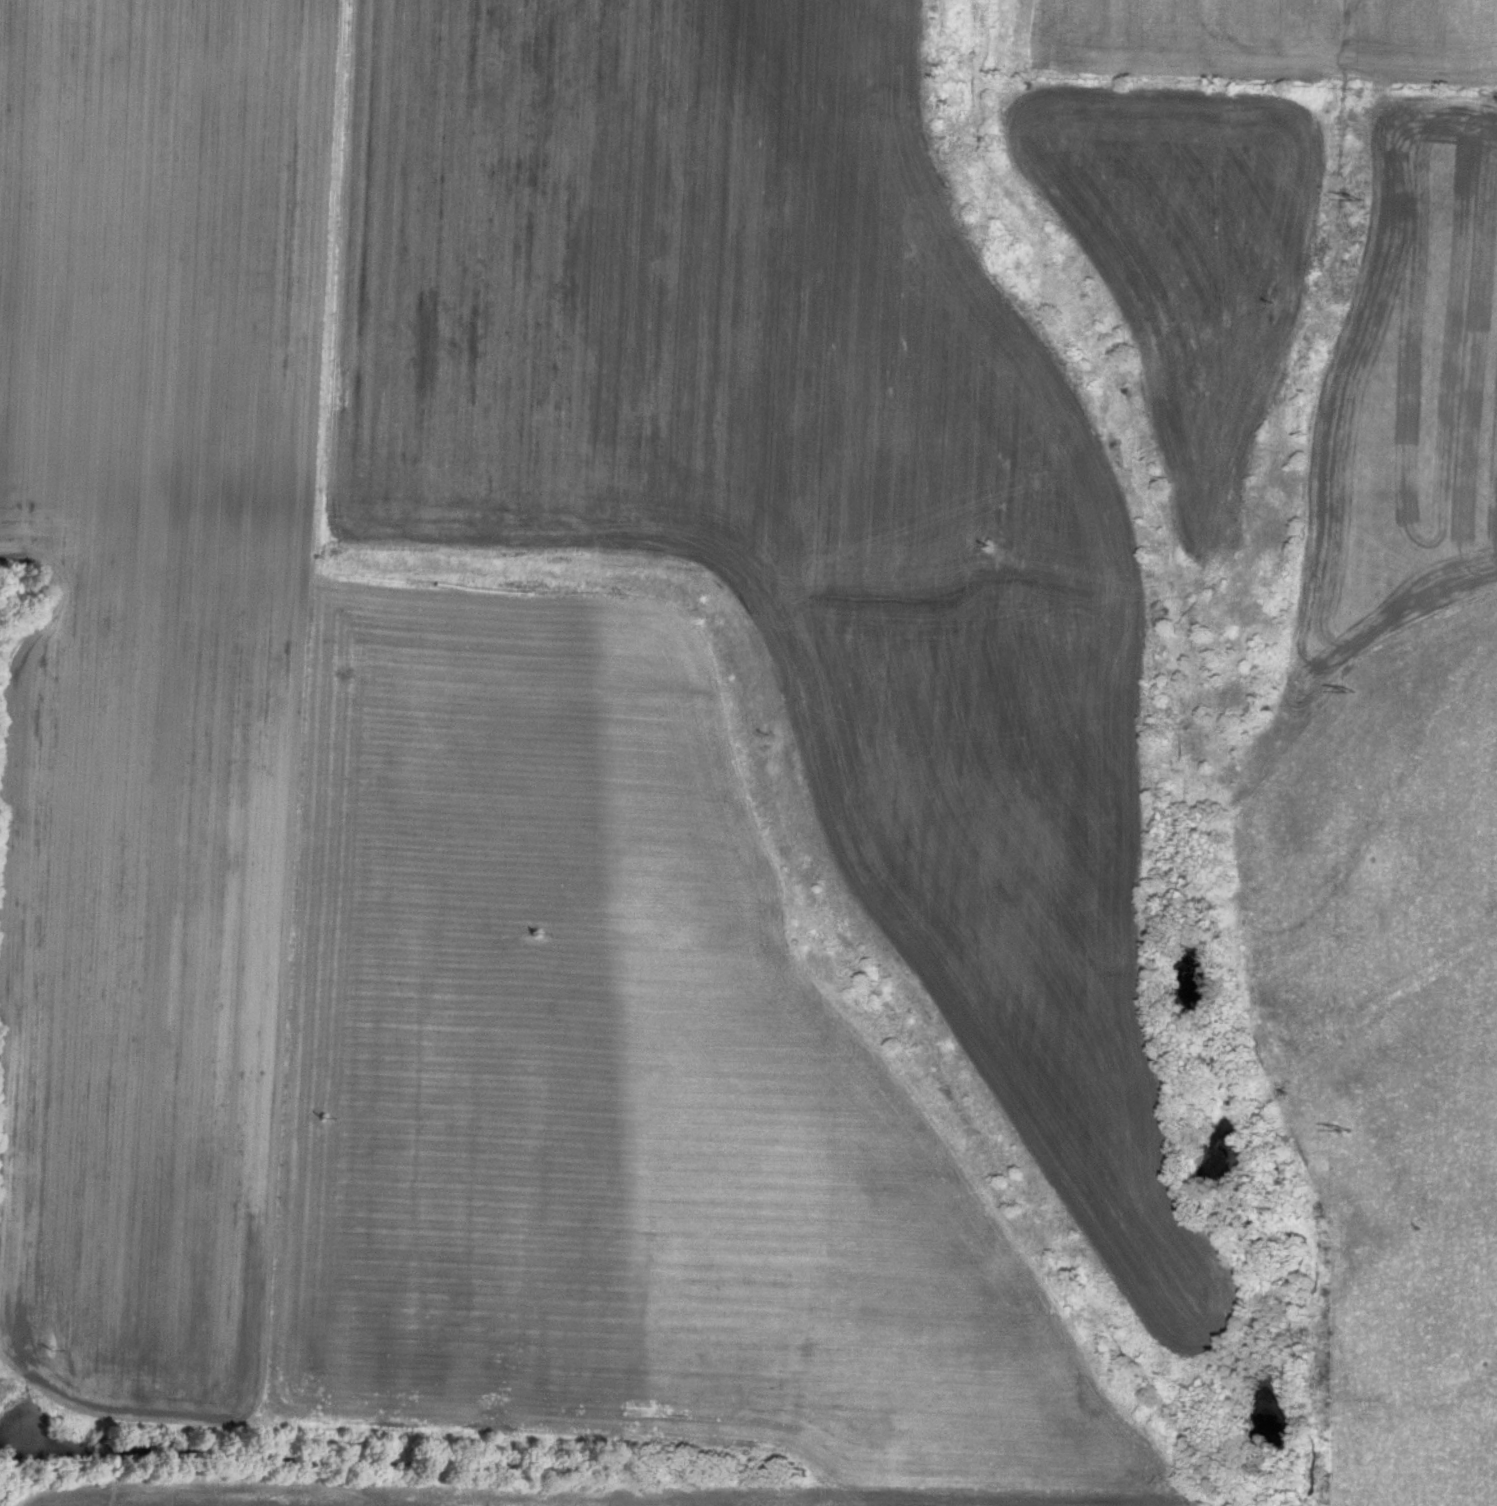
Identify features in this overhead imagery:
power tower: (1357, 201)
power tower: (1350, 689)
power tower: (1342, 1134)

